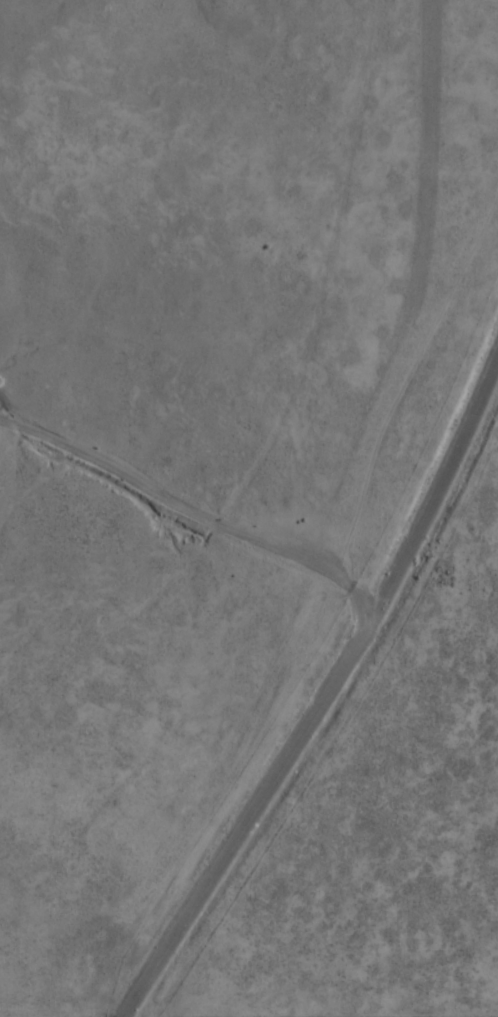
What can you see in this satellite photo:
road: (326, 700)

